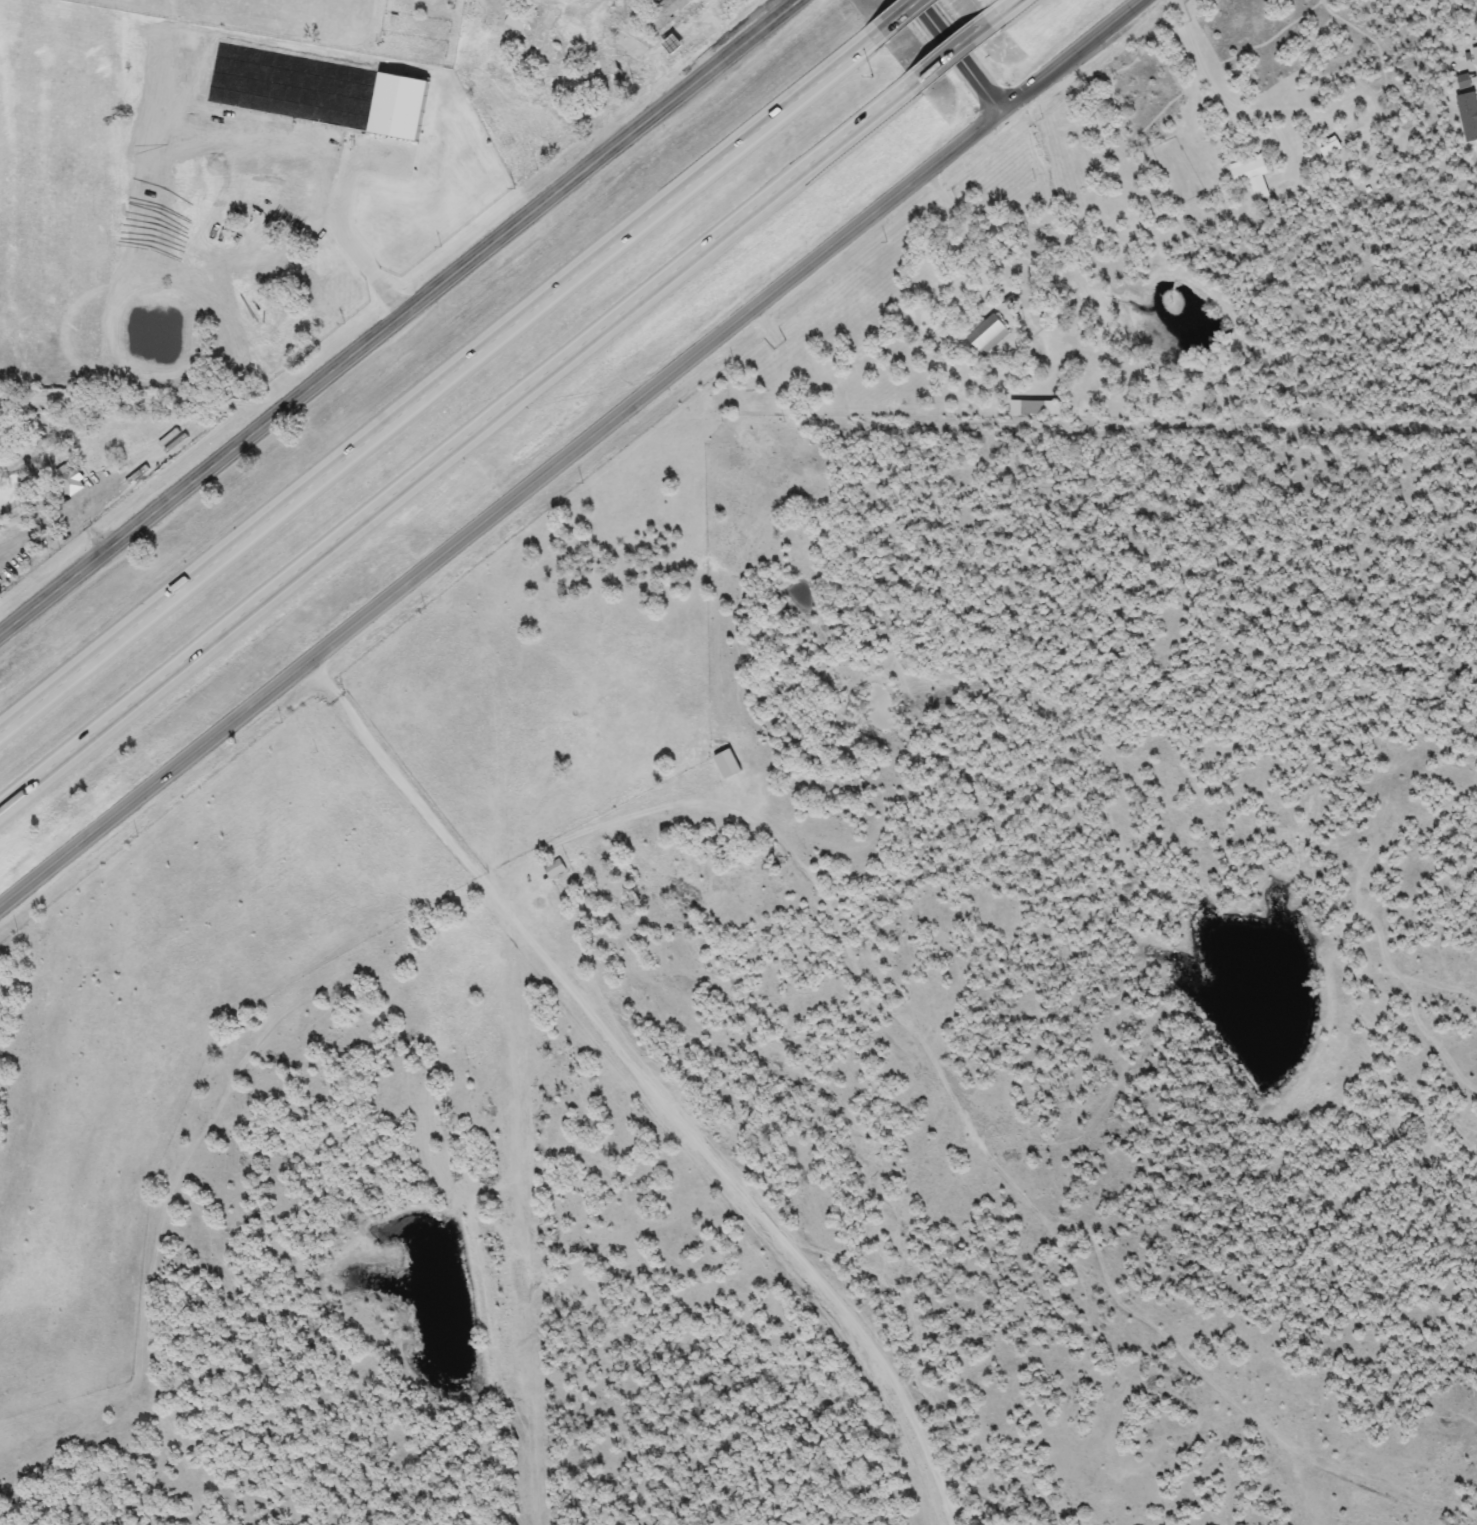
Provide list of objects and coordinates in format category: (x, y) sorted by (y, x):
building: (634, 2)
road: (998, 7)
building: (664, 13)
road: (890, 15)
building: (514, 21)
road: (708, 28)
gas station: (668, 38)
building: (538, 41)
road: (948, 45)
road: (953, 54)
building: (549, 64)
road: (601, 73)
building: (319, 79)
road: (1222, 98)
building: (1329, 148)
building: (1250, 174)
road: (341, 209)
road: (1004, 276)
road: (394, 312)
building: (986, 335)
road: (436, 379)
road: (136, 399)
building: (1032, 400)
building: (1032, 408)
road: (455, 444)
road: (567, 456)
building: (70, 483)
road: (53, 513)
road: (401, 784)
building: (553, 868)

